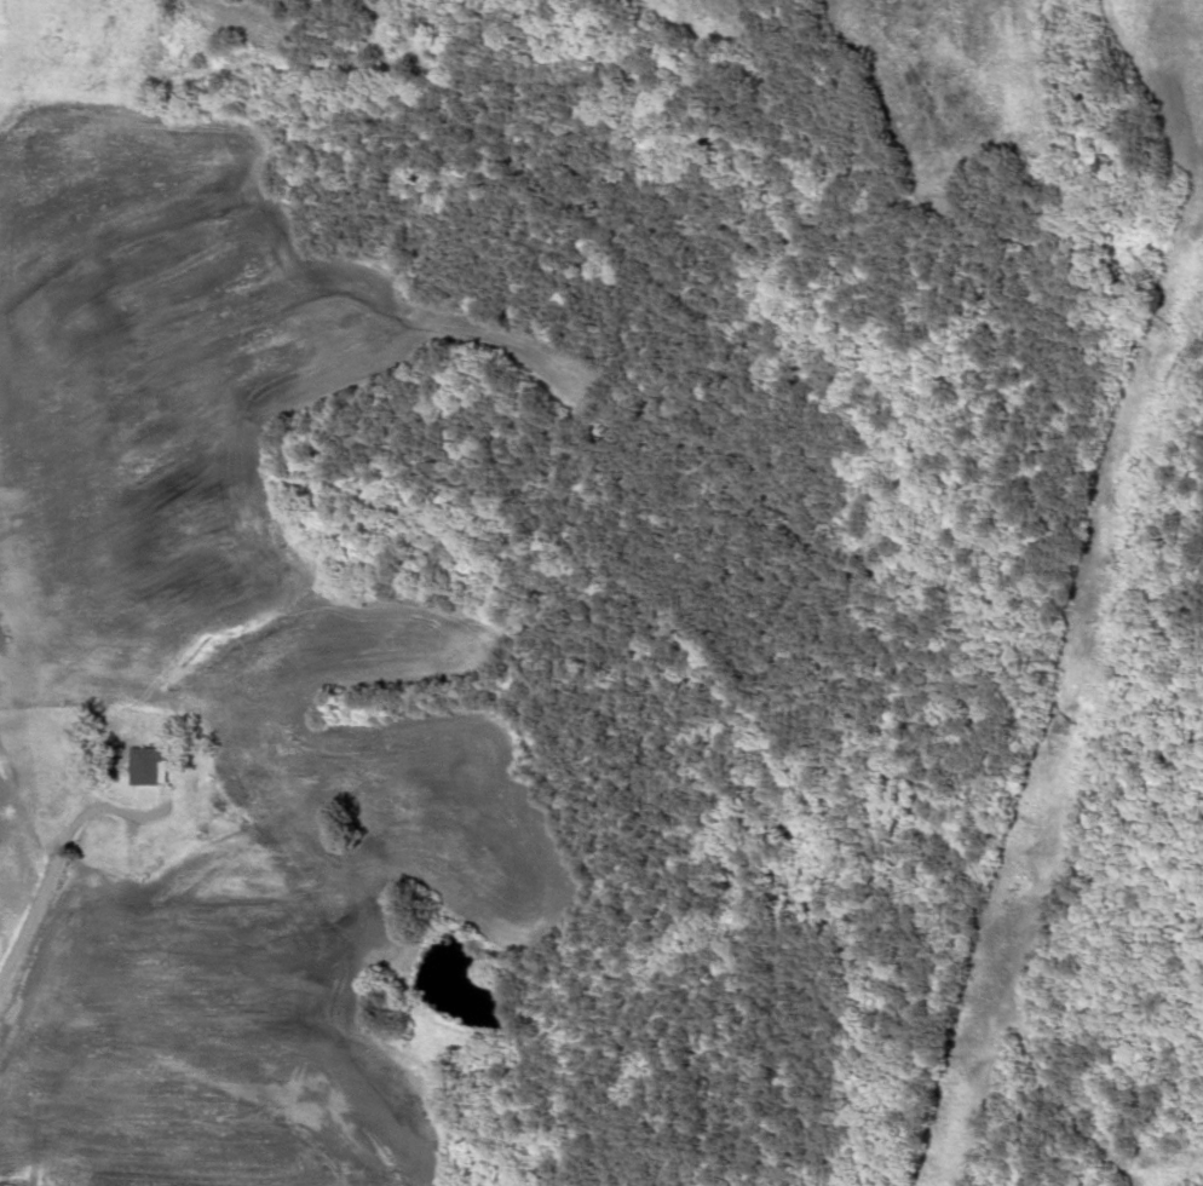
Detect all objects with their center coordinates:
building: (159, 766)
road: (25, 899)

